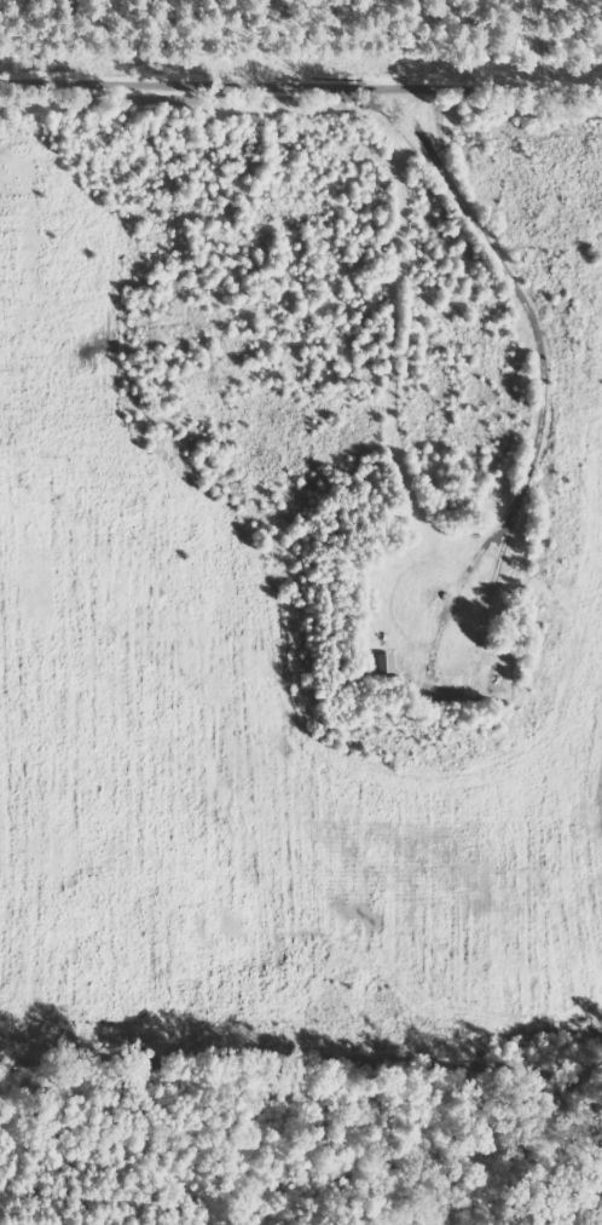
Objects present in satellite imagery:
road: (301, 125)

